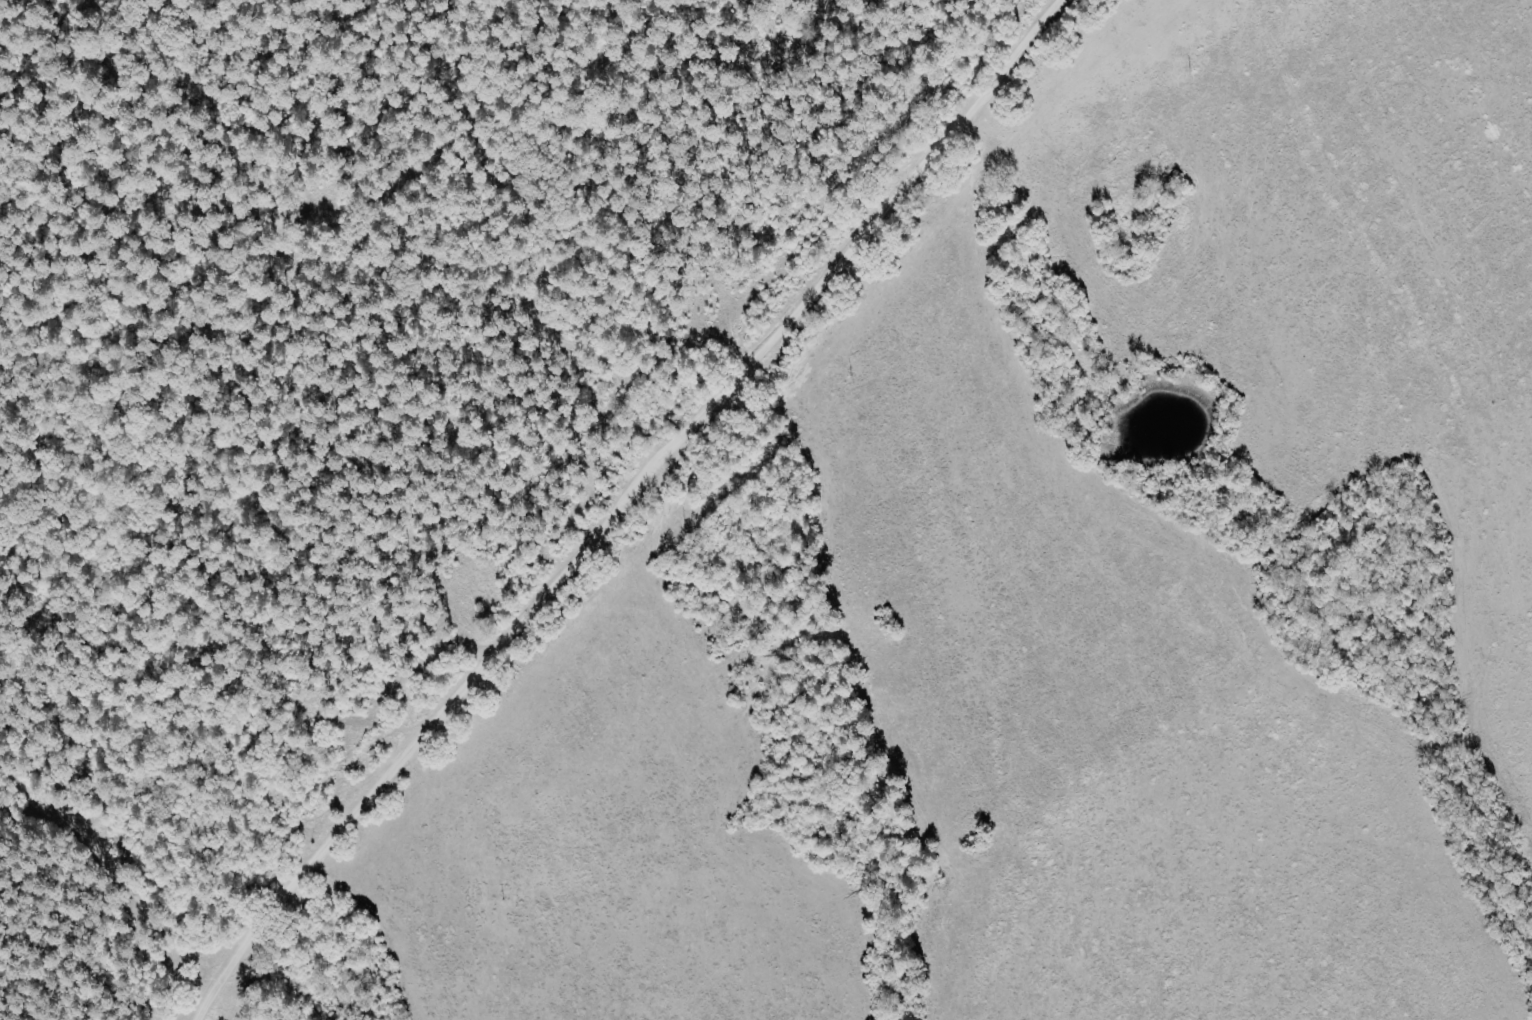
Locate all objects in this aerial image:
road: (620, 506)

